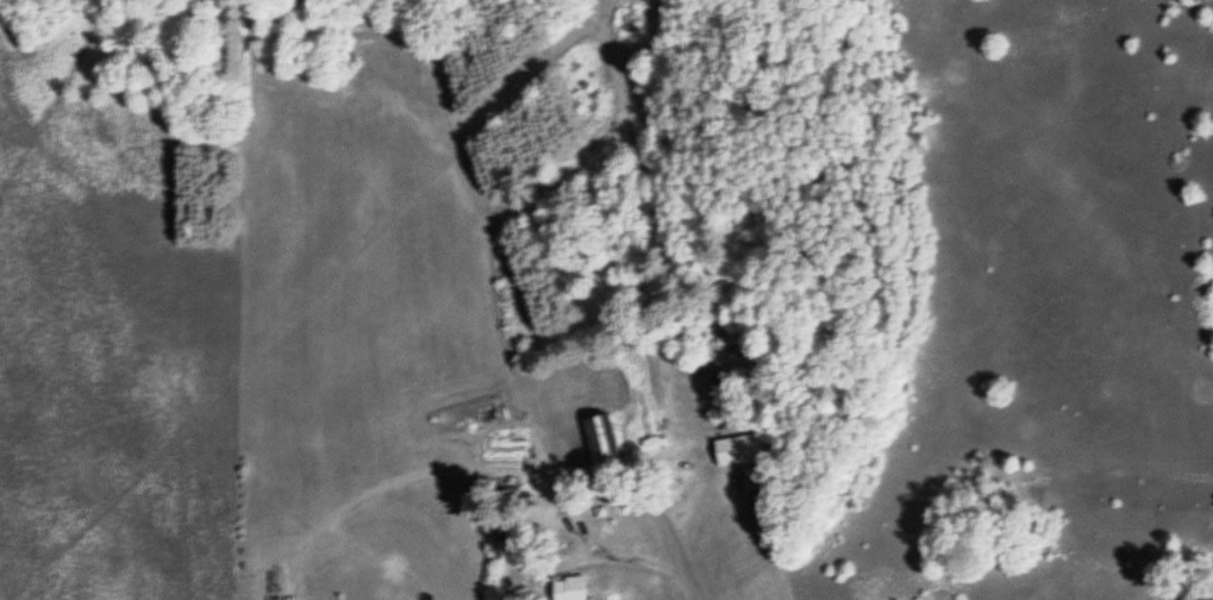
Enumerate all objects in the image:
building: (594, 442)
building: (734, 451)
road: (688, 585)
building: (565, 588)

